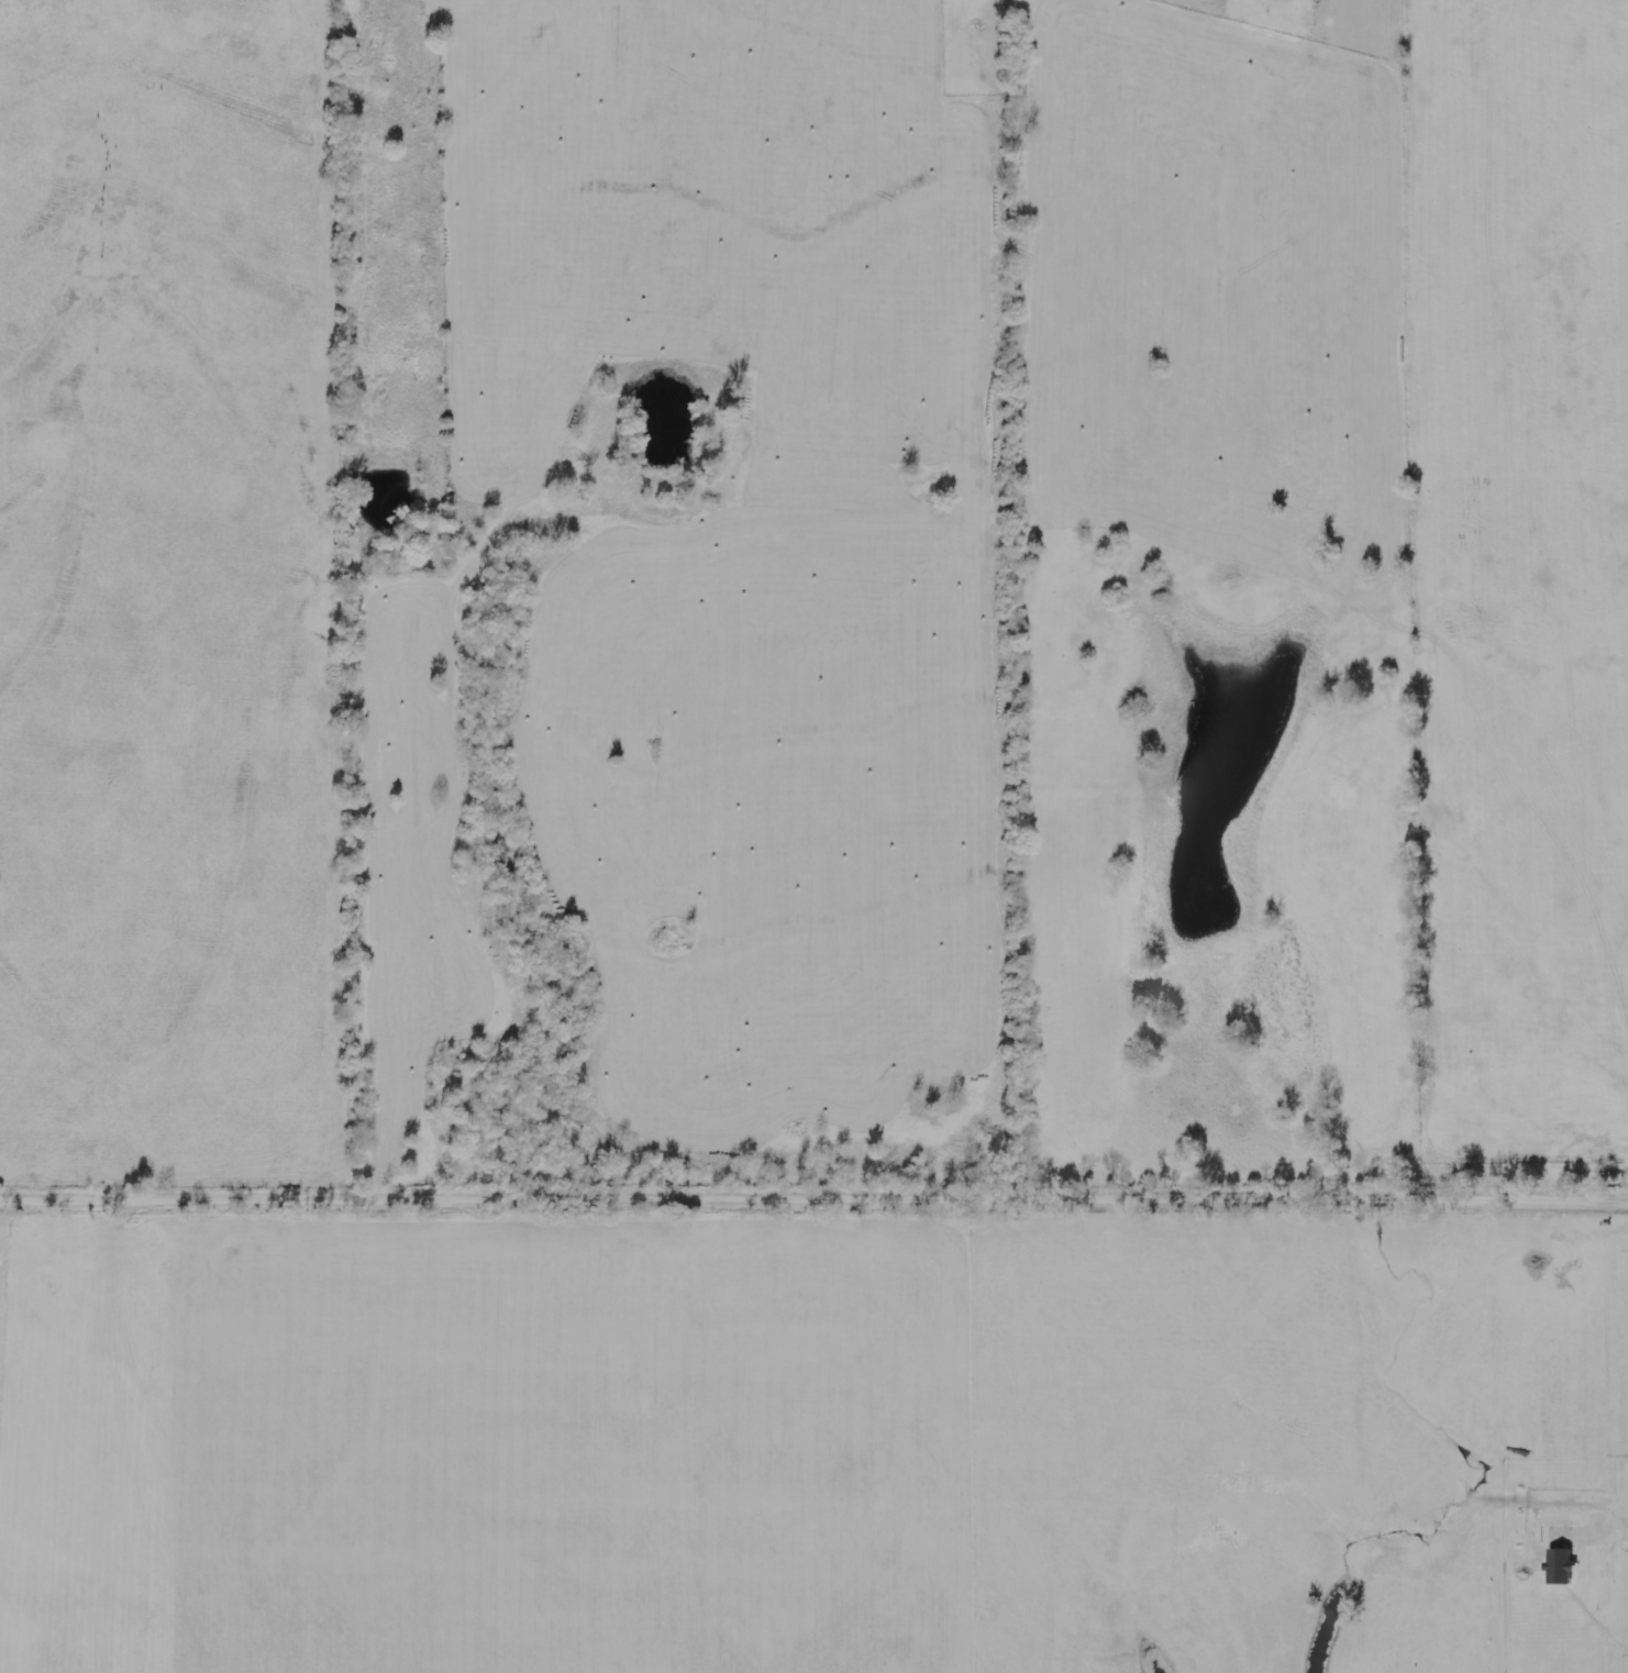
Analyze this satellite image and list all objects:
road: (813, 1204)

